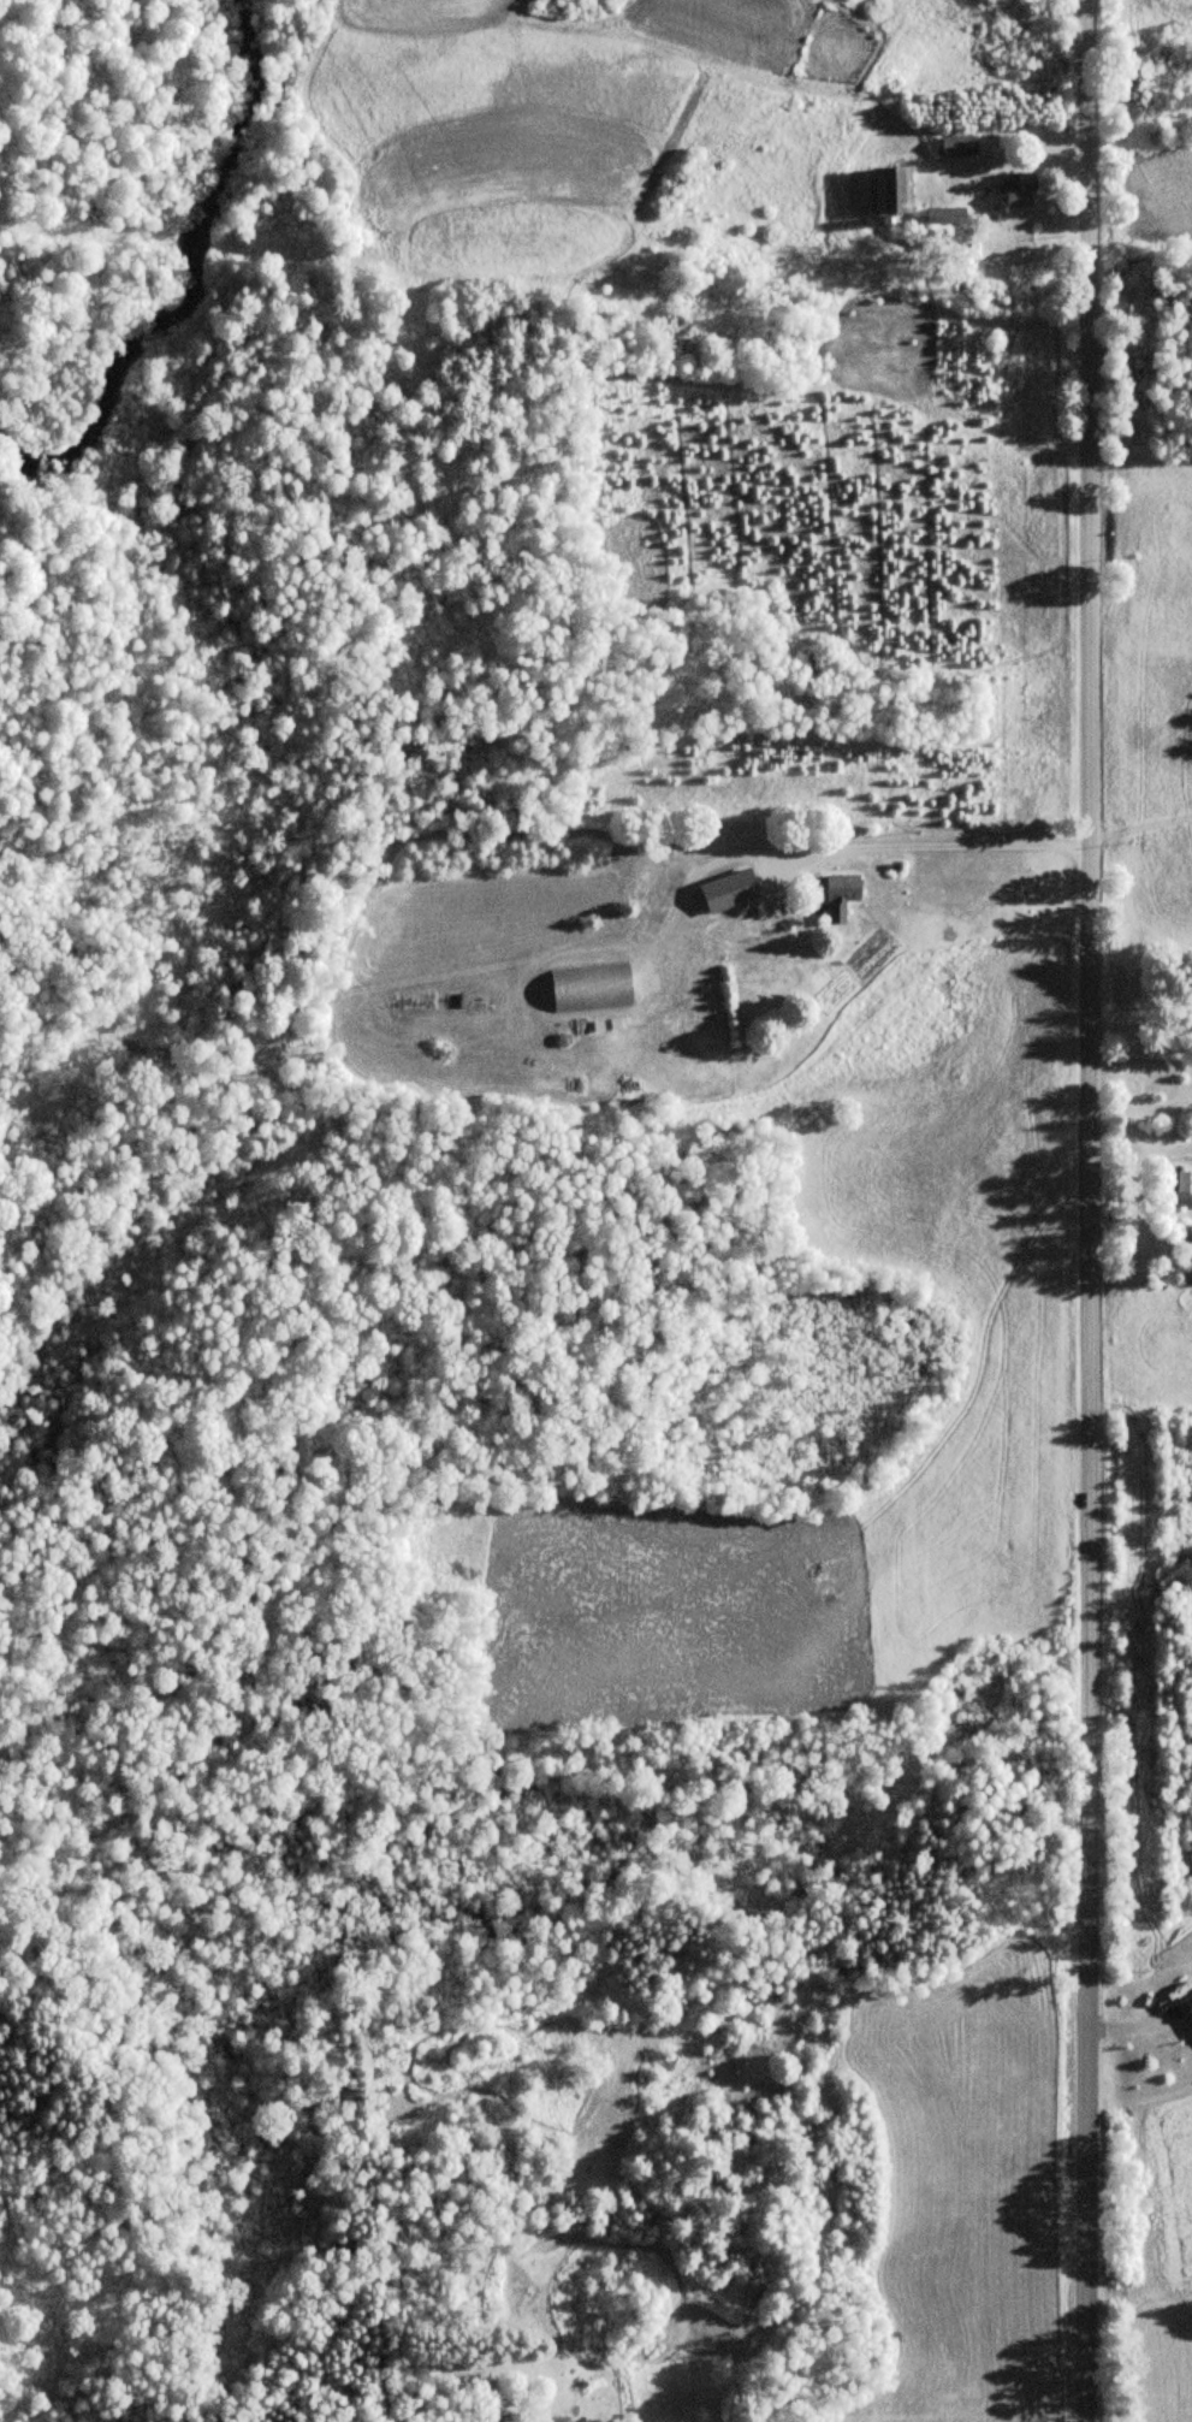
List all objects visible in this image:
building: (959, 146)
building: (1018, 190)
building: (890, 191)
building: (944, 215)
river: (200, 291)
building: (729, 892)
building: (840, 896)
building: (575, 990)
building: (1175, 1188)
road: (1085, 1210)
building: (1187, 2006)
building: (559, 2420)

